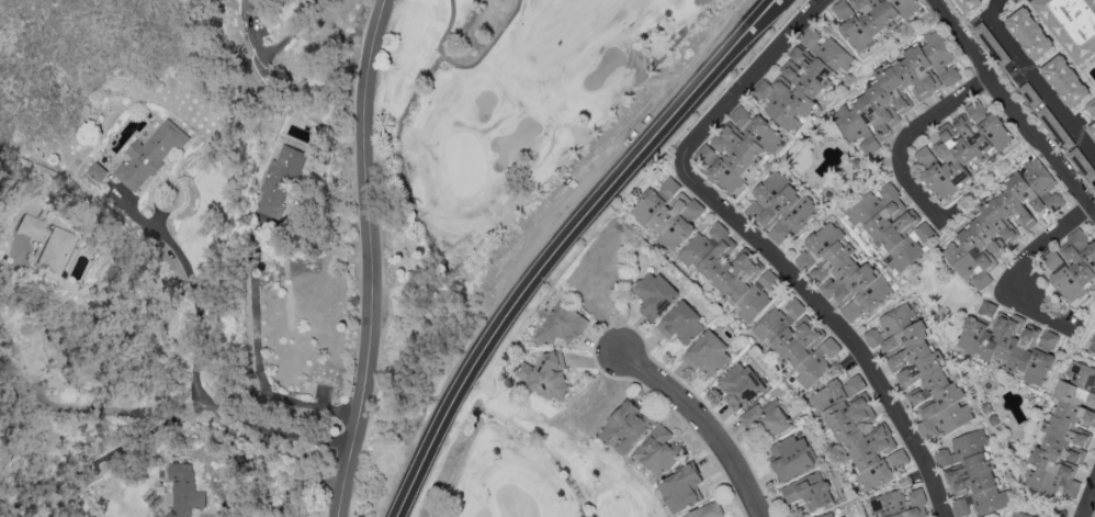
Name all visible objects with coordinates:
building: (968, 4)
building: (251, 12)
building: (871, 19)
building: (1071, 25)
building: (1029, 34)
road: (285, 40)
building: (802, 79)
road: (1036, 81)
building: (1065, 81)
road: (746, 82)
building: (898, 92)
building: (1030, 94)
road: (1011, 108)
building: (1091, 108)
building: (975, 111)
park: (506, 115)
building: (1093, 126)
road: (908, 138)
building: (737, 150)
building: (960, 154)
building: (138, 159)
building: (279, 182)
building: (1094, 186)
building: (780, 207)
building: (668, 213)
building: (1001, 223)
building: (892, 225)
road: (567, 243)
building: (42, 244)
road: (369, 258)
road: (1018, 267)
building: (1072, 267)
building: (731, 271)
building: (842, 272)
building: (654, 294)
road: (196, 311)
building: (681, 324)
building: (562, 325)
road: (837, 327)
building: (798, 340)
building: (1009, 342)
building: (1092, 346)
building: (709, 355)
building: (921, 371)
building: (545, 375)
building: (738, 386)
road: (169, 420)
building: (766, 420)
road: (704, 425)
building: (626, 427)
building: (859, 432)
building: (1064, 436)
building: (658, 451)
building: (791, 457)
park: (529, 471)
building: (972, 475)
road: (302, 482)
building: (681, 488)
building: (183, 491)
building: (809, 491)
road: (1088, 501)
building: (707, 510)
road: (588, 515)
building: (827, 515)
building: (1019, 515)
building: (151, 516)
road: (1082, 516)
road: (1084, 516)

